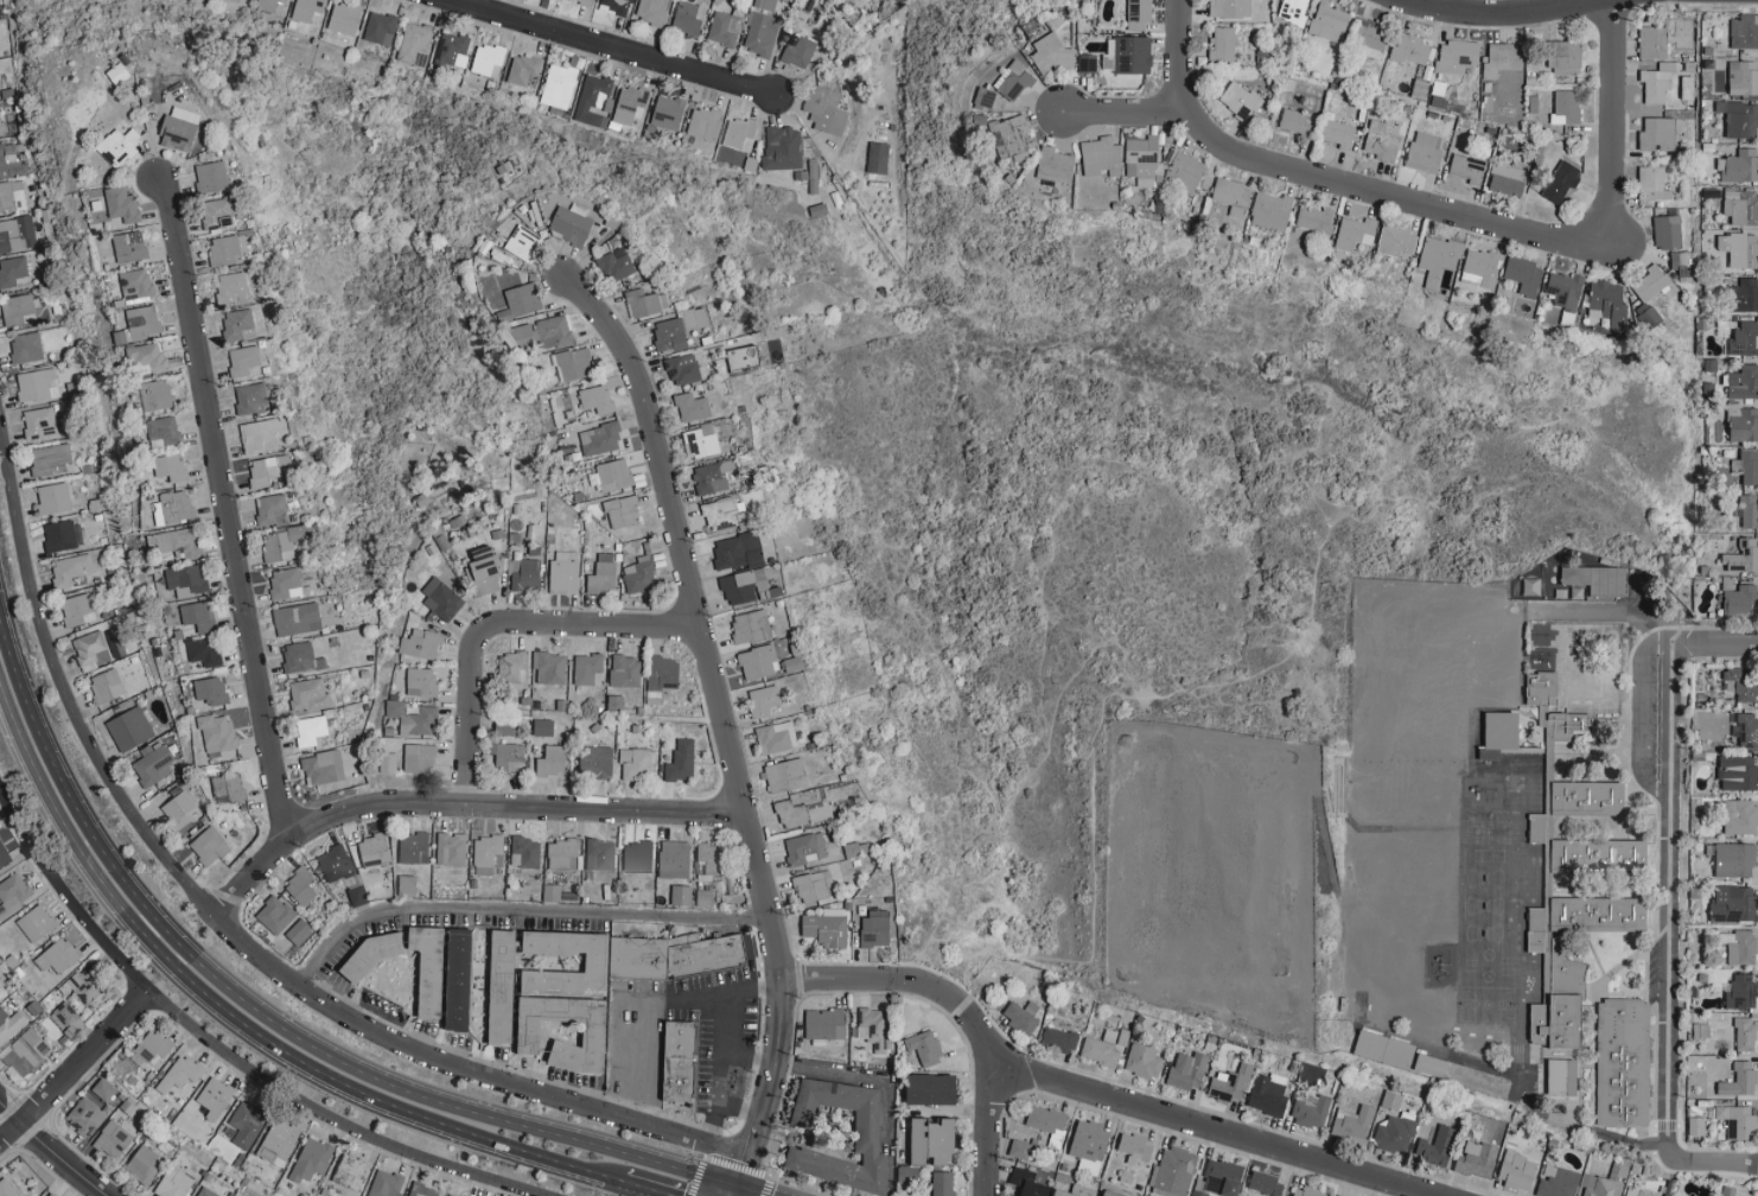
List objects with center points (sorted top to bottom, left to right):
building: (235, 0)
building: (585, 1)
building: (765, 4)
building: (268, 5)
building: (617, 5)
road: (1431, 6)
building: (1230, 8)
building: (306, 9)
building: (651, 11)
building: (1293, 11)
building: (1139, 14)
building: (688, 17)
building: (344, 18)
road: (1497, 18)
building: (1329, 21)
building: (380, 27)
building: (724, 27)
building: (1744, 31)
building: (760, 33)
building: (1667, 36)
building: (1369, 40)
building: (1223, 43)
building: (414, 44)
building: (1410, 49)
road: (605, 50)
building: (800, 51)
building: (450, 53)
building: (1128, 53)
building: (1053, 55)
building: (1456, 56)
building: (1566, 56)
building: (1502, 58)
building: (488, 59)
building: (1087, 64)
building: (522, 69)
building: (117, 74)
building: (1743, 77)
building: (1013, 81)
building: (1657, 82)
building: (559, 85)
building: (1440, 96)
building: (593, 97)
building: (1240, 100)
building: (629, 104)
building: (1566, 107)
building: (826, 109)
building: (668, 112)
road: (1126, 113)
building: (1740, 117)
building: (1294, 121)
building: (705, 122)
road: (1611, 123)
building: (0, 128)
building: (179, 128)
building: (739, 133)
building: (1338, 133)
building: (1657, 133)
building: (1012, 138)
building: (1382, 139)
building: (783, 145)
building: (119, 146)
building: (1426, 151)
building: (878, 157)
building: (1101, 157)
building: (1144, 160)
building: (1, 161)
building: (1055, 165)
building: (1740, 165)
building: (1467, 167)
building: (1184, 172)
building: (211, 177)
building: (1508, 177)
road: (1332, 182)
building: (1561, 182)
building: (1652, 183)
building: (12, 196)
building: (1231, 196)
building: (121, 204)
building: (1741, 206)
building: (1270, 210)
building: (217, 212)
building: (1316, 218)
building: (572, 223)
building: (1355, 231)
building: (1668, 231)
building: (17, 234)
building: (1396, 240)
building: (523, 243)
building: (129, 247)
building: (1737, 248)
building: (227, 250)
building: (1438, 257)
building: (616, 265)
building: (1681, 265)
building: (1479, 267)
building: (13, 272)
building: (1524, 275)
building: (1651, 281)
building: (136, 284)
building: (231, 287)
building: (1565, 288)
building: (1744, 294)
building: (522, 299)
building: (1607, 300)
building: (645, 303)
building: (17, 310)
building: (695, 317)
building: (142, 322)
building: (238, 324)
building: (542, 333)
building: (669, 335)
building: (121, 336)
building: (1745, 338)
building: (26, 348)
building: (147, 355)
building: (743, 357)
building: (243, 360)
building: (574, 363)
building: (682, 368)
building: (1744, 382)
building: (36, 384)
building: (155, 395)
building: (251, 395)
building: (597, 399)
building: (693, 407)
building: (39, 422)
building: (1745, 425)
building: (164, 430)
building: (260, 434)
building: (600, 438)
building: (701, 440)
building: (50, 459)
building: (170, 466)
building: (1750, 466)
building: (266, 470)
building: (613, 475)
building: (713, 476)
building: (52, 498)
building: (172, 507)
building: (270, 508)
building: (1749, 510)
building: (623, 511)
road: (224, 514)
building: (720, 514)
building: (62, 535)
building: (178, 541)
building: (282, 543)
building: (737, 551)
building: (1744, 556)
building: (485, 562)
building: (68, 570)
building: (563, 570)
building: (524, 574)
building: (603, 574)
building: (639, 574)
building: (1595, 580)
building: (285, 584)
building: (738, 587)
building: (441, 599)
building: (1741, 602)
building: (76, 610)
road: (1606, 610)
building: (198, 615)
building: (297, 618)
building: (750, 626)
road: (593, 631)
building: (1541, 634)
building: (421, 643)
road: (1713, 644)
building: (89, 649)
building: (204, 650)
building: (301, 657)
building: (757, 662)
building: (792, 663)
building: (511, 666)
building: (549, 667)
building: (587, 669)
building: (625, 672)
building: (661, 676)
building: (421, 681)
building: (113, 683)
building: (1740, 683)
building: (210, 689)
building: (308, 694)
building: (764, 700)
road: (1639, 713)
road: (471, 715)
building: (413, 718)
road: (718, 720)
building: (505, 727)
building: (129, 729)
building: (310, 730)
building: (1720, 730)
building: (1749, 730)
building: (1499, 731)
building: (216, 733)
building: (776, 737)
building: (507, 756)
building: (419, 758)
building: (552, 761)
building: (597, 761)
building: (681, 761)
building: (153, 763)
building: (636, 764)
building: (323, 768)
building: (1738, 772)
building: (785, 776)
building: (228, 788)
building: (177, 807)
road: (459, 807)
building: (790, 814)
building: (1740, 816)
building: (208, 846)
building: (413, 847)
building: (451, 848)
building: (805, 848)
building: (855, 848)
building: (374, 850)
building: (526, 852)
building: (562, 853)
building: (488, 854)
building: (600, 854)
building: (4, 855)
building: (637, 857)
building: (674, 859)
building: (1734, 860)
building: (708, 861)
building: (1592, 861)
building: (300, 886)
building: (814, 886)
road: (66, 892)
building: (13, 893)
building: (681, 895)
building: (357, 896)
building: (705, 896)
road: (1665, 896)
building: (1733, 904)
road: (515, 910)
building: (275, 915)
building: (36, 923)
building: (826, 927)
building: (875, 928)
building: (298, 931)
road: (234, 936)
building: (1739, 947)
building: (58, 955)
building: (705, 959)
building: (635, 961)
building: (431, 968)
building: (460, 979)
building: (88, 984)
building: (503, 987)
building: (1740, 992)
road: (669, 997)
building: (1344, 1011)
road: (270, 1013)
building: (64, 1014)
building: (1023, 1016)
building: (824, 1024)
building: (9, 1025)
road: (240, 1025)
building: (873, 1028)
building: (1701, 1030)
road: (630, 1033)
building: (1745, 1033)
building: (1058, 1039)
road: (724, 1042)
building: (925, 1046)
building: (151, 1048)
building: (1101, 1049)
building: (25, 1052)
road: (747, 1055)
road: (650, 1061)
building: (1144, 1061)
building: (1620, 1067)
building: (1431, 1068)
road: (74, 1069)
road: (629, 1070)
building: (1189, 1070)
building: (180, 1073)
road: (853, 1076)
building: (1562, 1077)
building: (677, 1081)
building: (1740, 1081)
building: (1230, 1083)
building: (934, 1089)
road: (1083, 1090)
building: (1268, 1094)
building: (1391, 1100)
road: (740, 1105)
building: (93, 1106)
building: (1310, 1109)
road: (950, 1111)
building: (190, 1112)
road: (325, 1115)
building: (1046, 1119)
building: (1737, 1121)
building: (1353, 1122)
building: (247, 1124)
building: (1696, 1126)
road: (987, 1128)
building: (1395, 1133)
building: (866, 1138)
building: (113, 1139)
building: (278, 1141)
building: (934, 1141)
building: (1089, 1143)
road: (1645, 1144)
building: (1438, 1145)
building: (1136, 1147)
building: (1020, 1149)
road: (47, 1151)
building: (311, 1159)
building: (1477, 1159)
road: (1708, 1162)
building: (142, 1164)
building: (350, 1171)
building: (1517, 1171)
building: (1173, 1172)
building: (907, 1175)
building: (1223, 1177)
building: (1558, 1182)
building: (173, 1183)
building: (943, 1183)
building: (1028, 1183)
building: (386, 1184)
building: (1266, 1184)
traffic signals: (735, 1185)
building: (1599, 1185)
building: (7, 1188)
road: (643, 1189)
building: (422, 1190)
road: (733, 1190)
road: (753, 1190)
building: (1071, 1191)
building: (1306, 1191)
building: (1731, 1191)
building: (205, 1192)
building: (1636, 1192)
building: (1109, 1194)
building: (1198, 1194)
building: (47, 1195)
building: (452, 1195)

